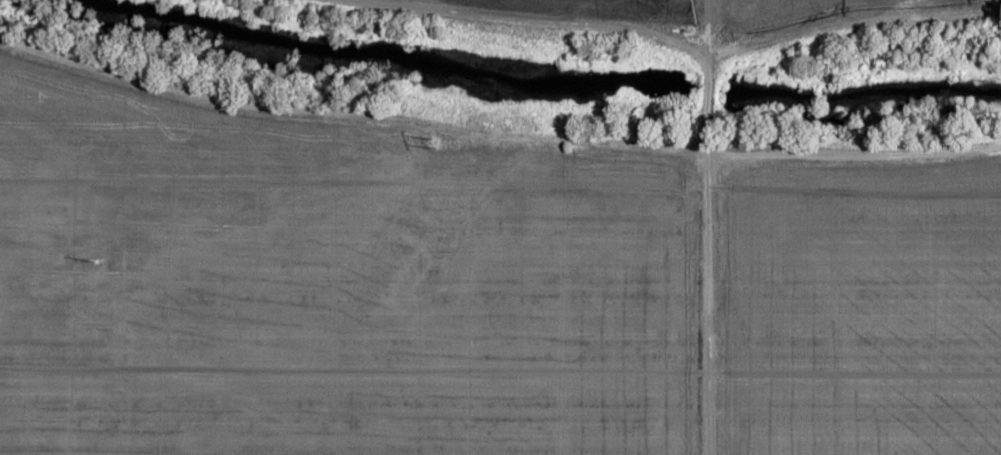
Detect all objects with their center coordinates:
road: (500, 137)
power tower: (439, 141)
power tower: (97, 259)
road: (706, 304)

